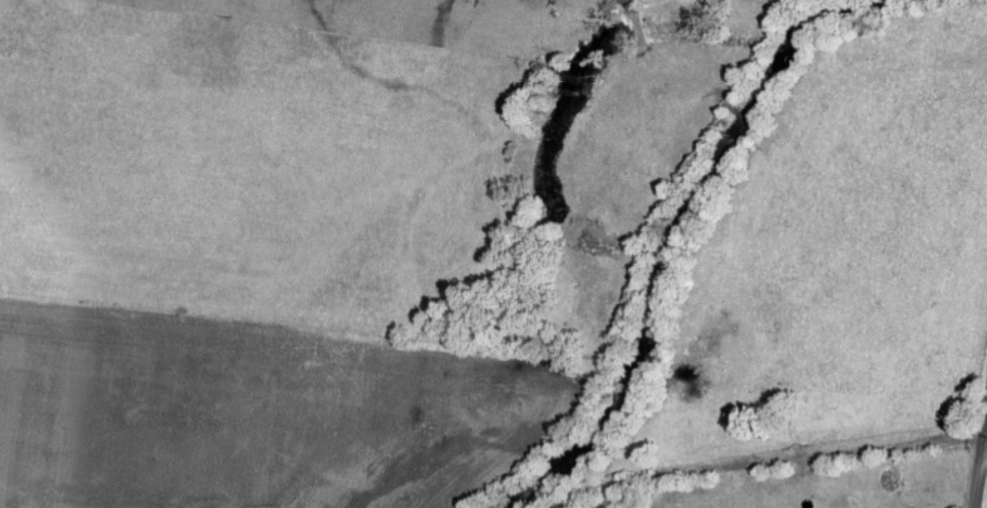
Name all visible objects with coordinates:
road: (982, 474)

